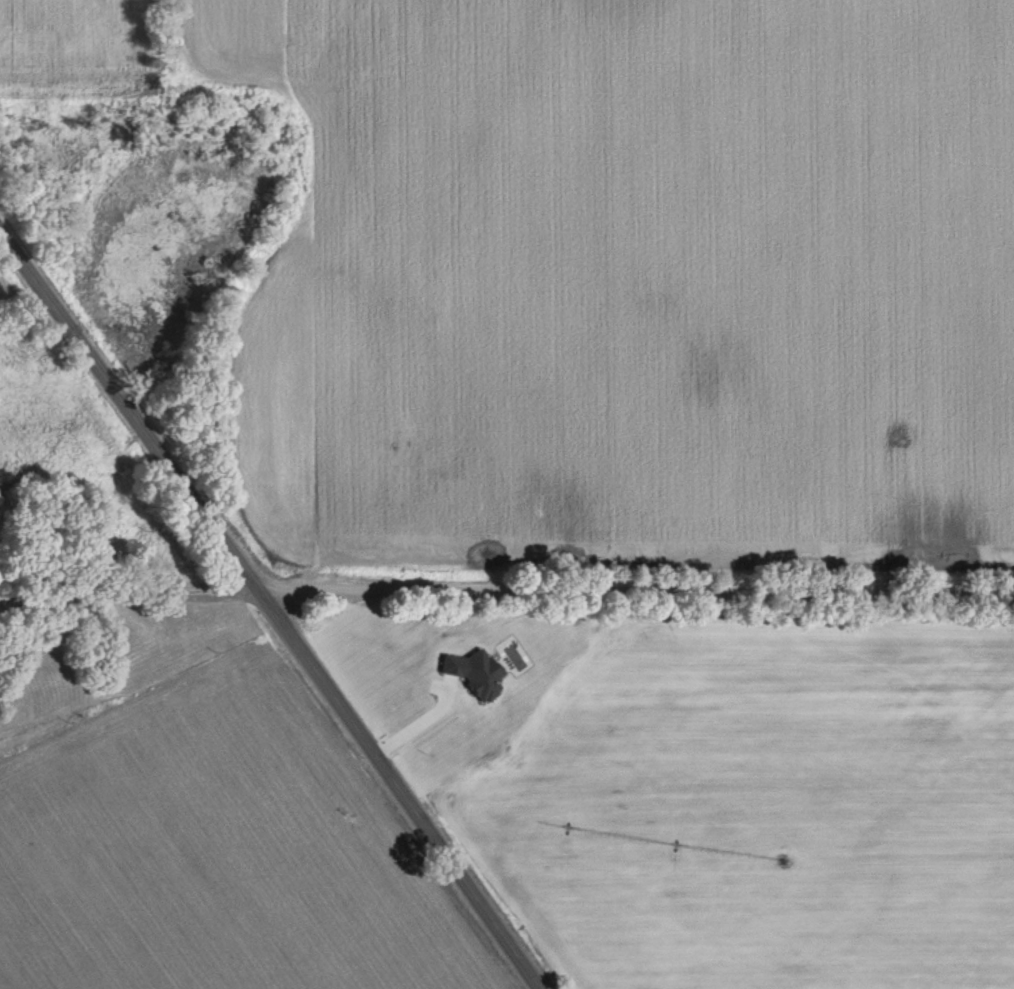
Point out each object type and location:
crop: (65, 40)
crop: (630, 278)
road: (635, 591)
road: (128, 597)
road: (270, 610)
crop: (211, 856)

